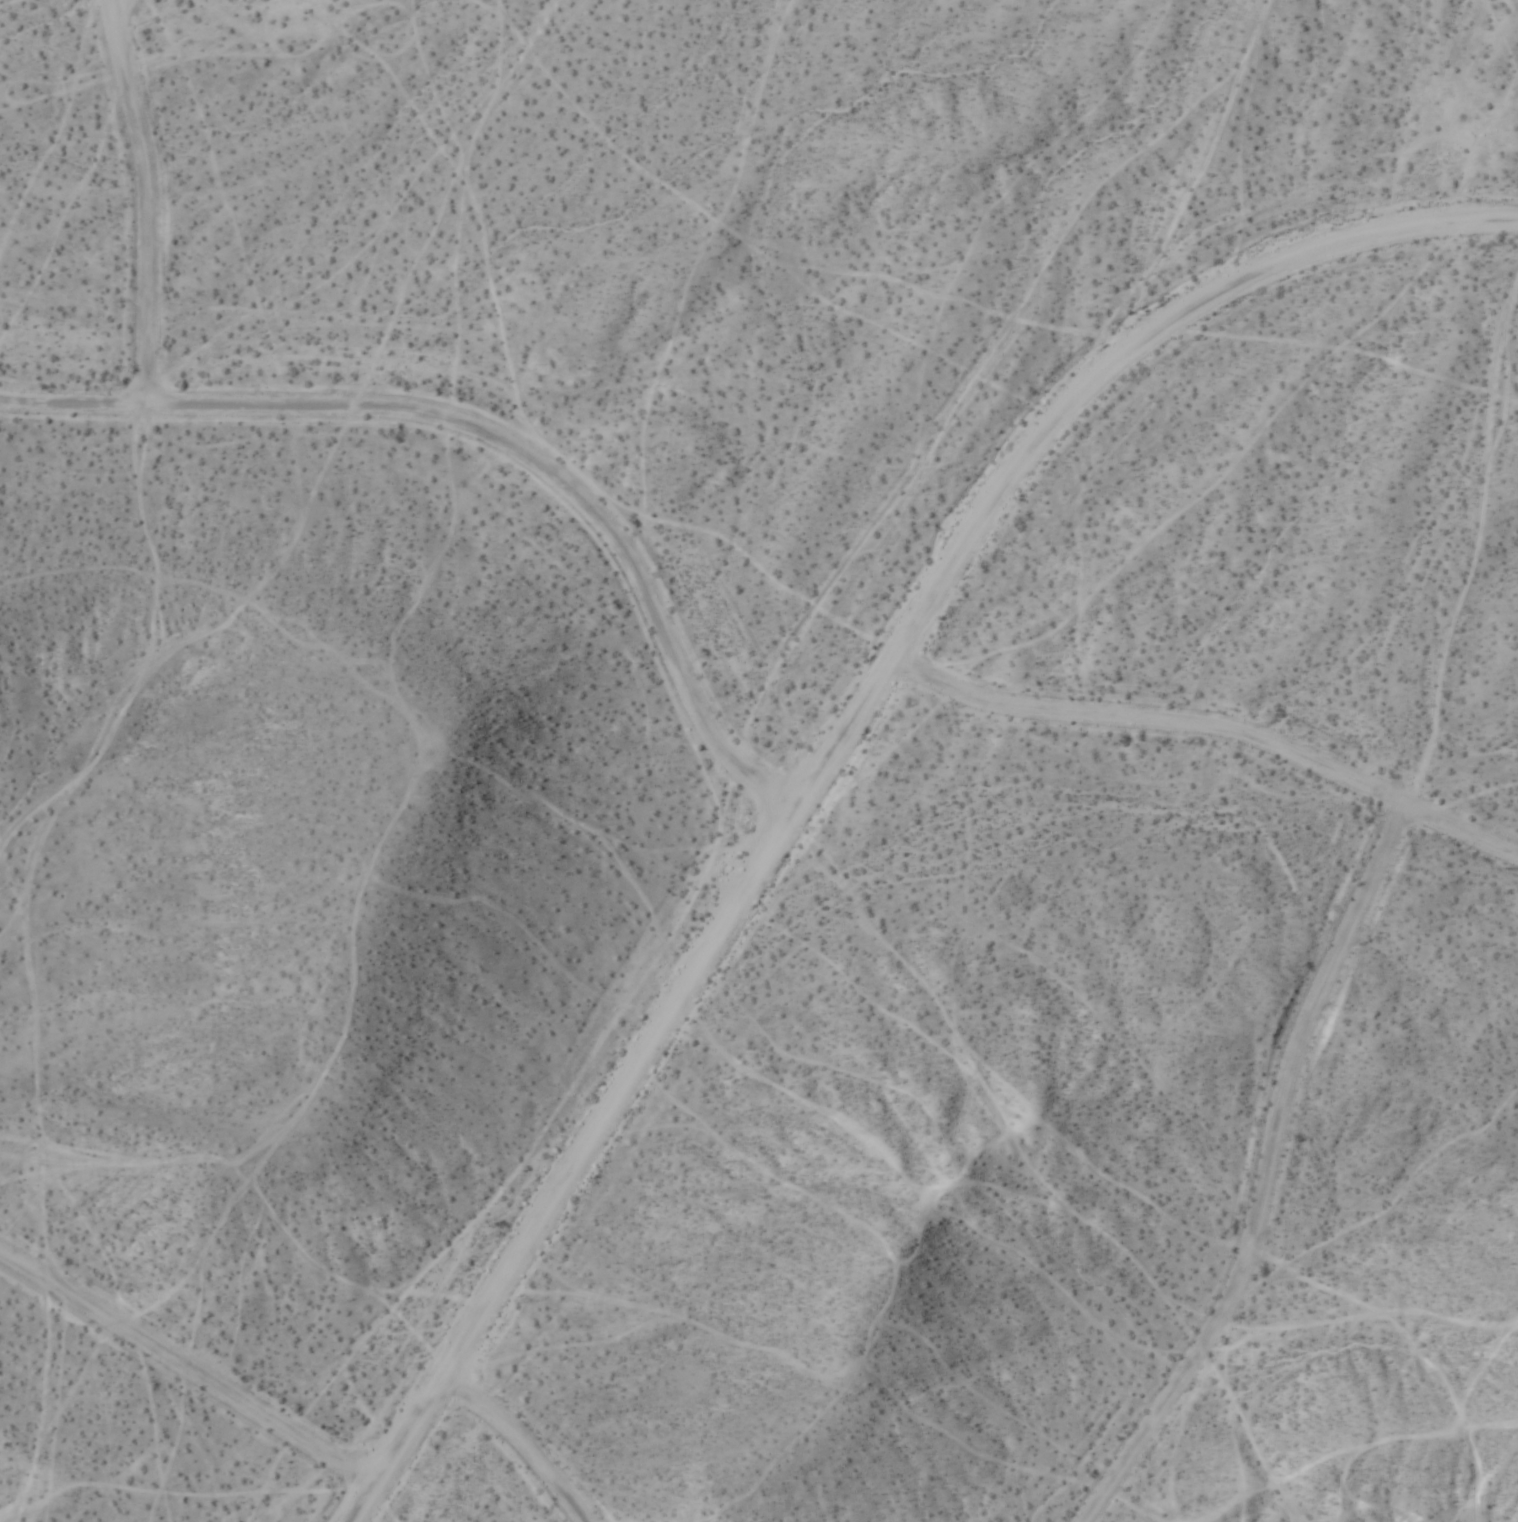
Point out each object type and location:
road: (147, 202)
road: (491, 440)
road: (1213, 728)
road: (838, 748)
road: (1267, 1175)
road: (188, 1373)
road: (522, 1444)

